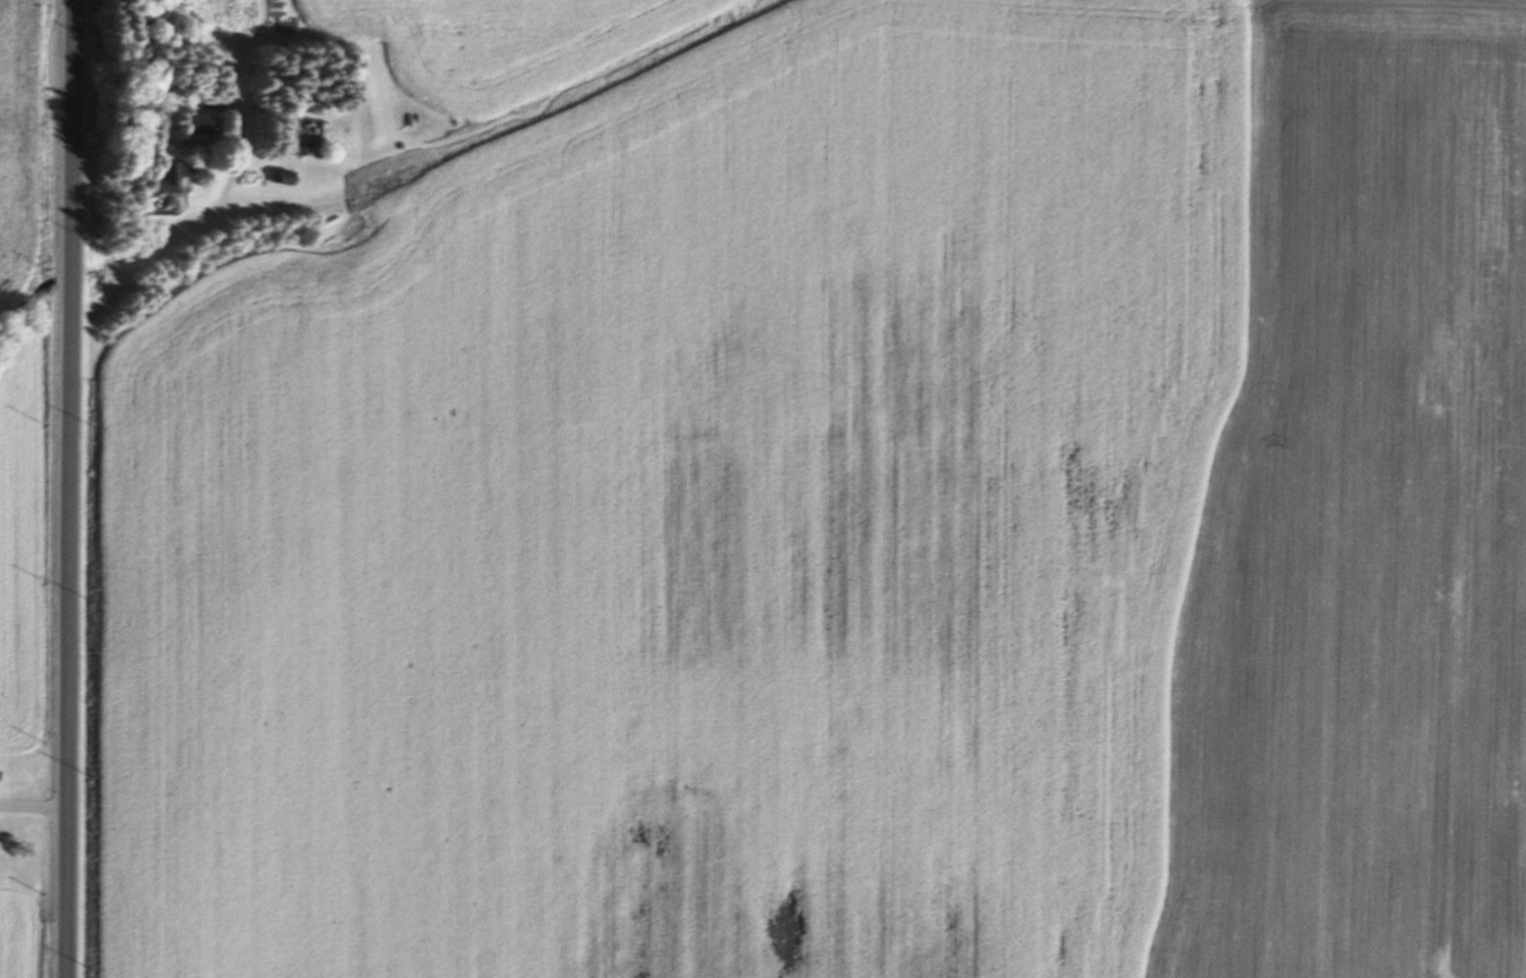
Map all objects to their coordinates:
building: (161, 178)
building: (279, 178)
road: (70, 488)
road: (34, 805)

